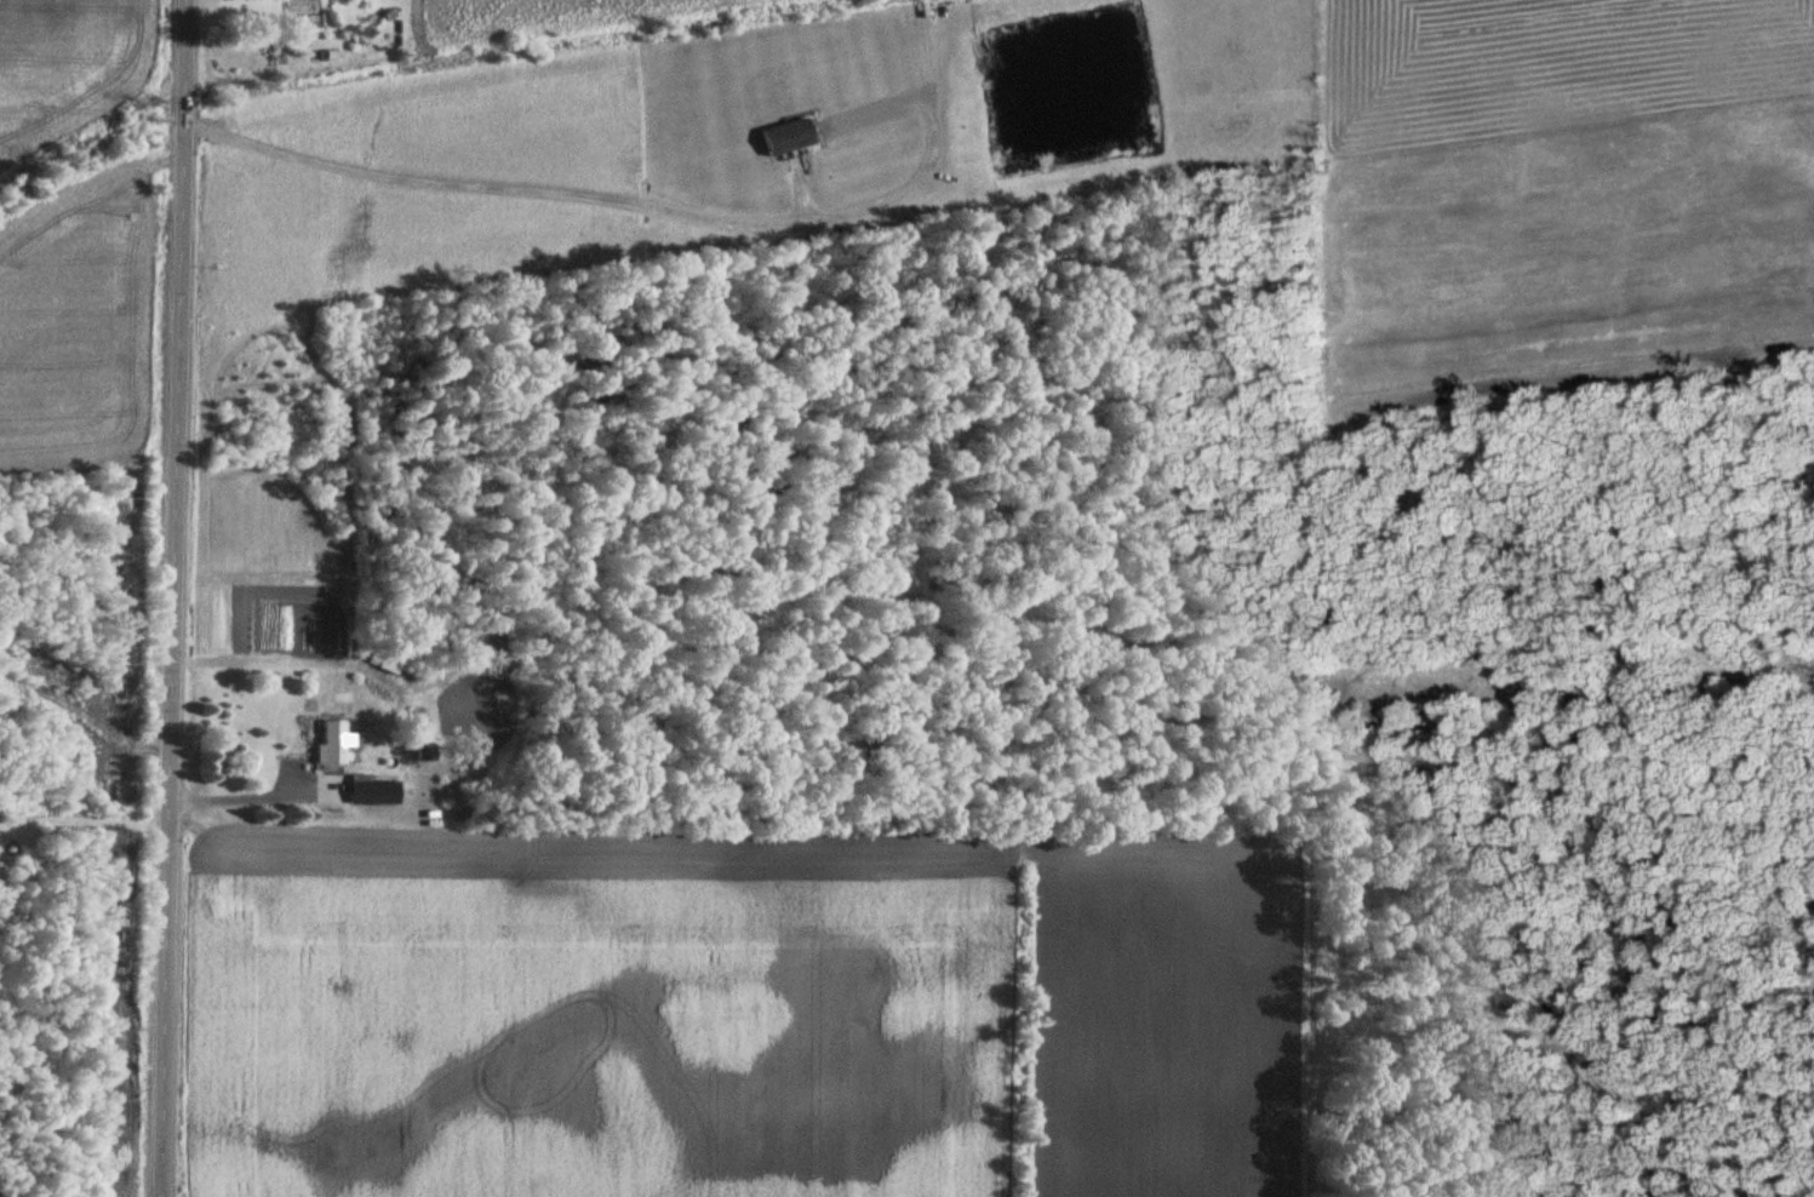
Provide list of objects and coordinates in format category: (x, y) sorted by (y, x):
building: (788, 138)
road: (637, 204)
road: (173, 597)
building: (334, 740)
building: (376, 790)

